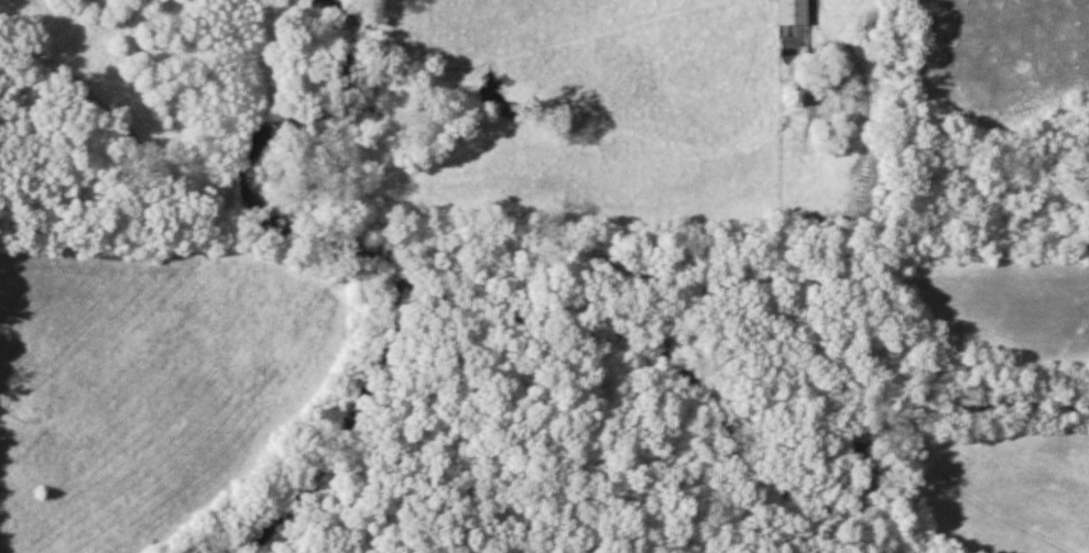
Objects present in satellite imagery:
building: (787, 12)

